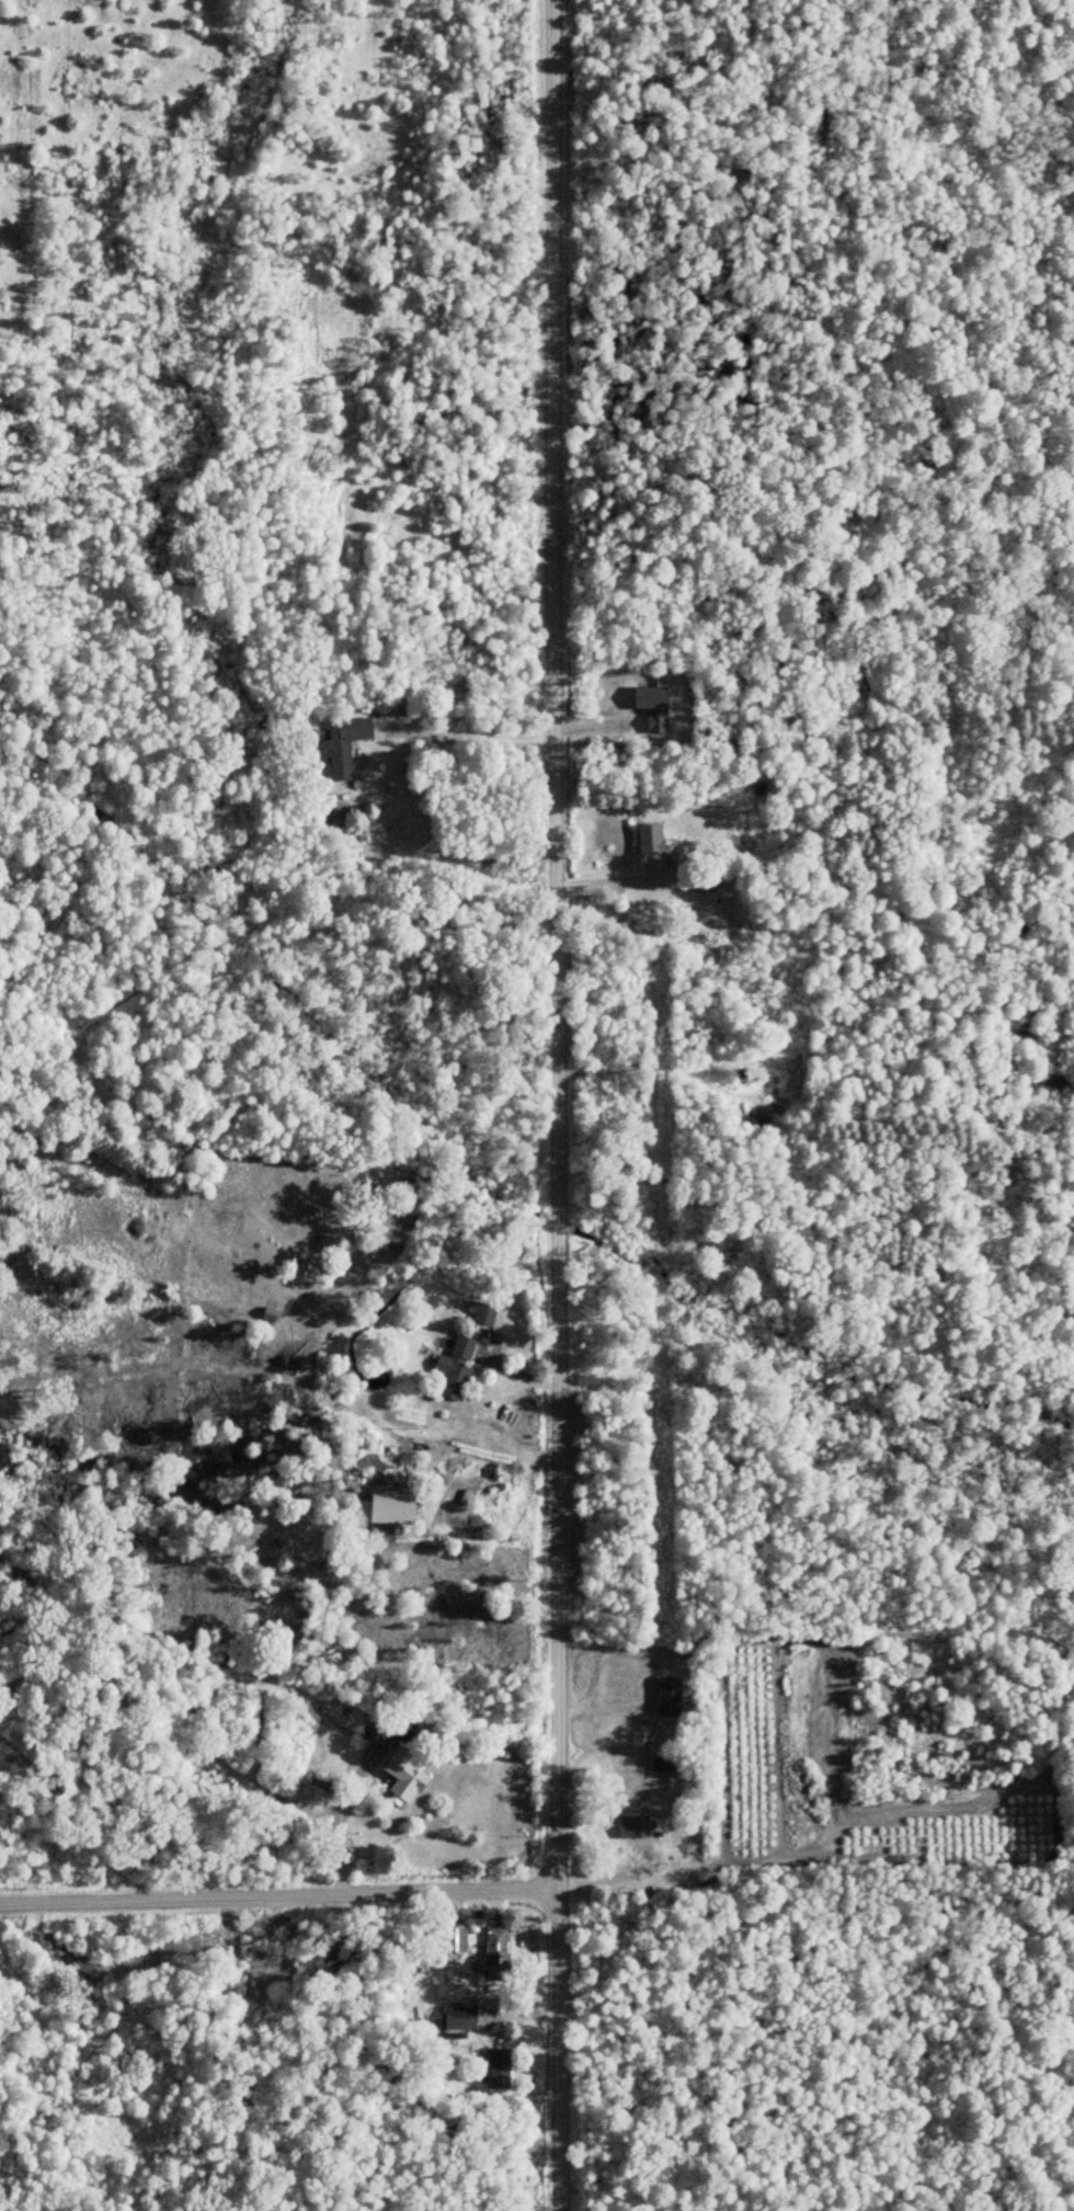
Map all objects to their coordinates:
road: (476, 733)
building: (346, 743)
building: (655, 842)
road: (614, 881)
building: (705, 882)
road: (556, 1105)
building: (272, 1311)
building: (487, 1313)
building: (457, 1369)
building: (407, 1779)
road: (342, 1825)
building: (636, 1826)
road: (278, 1897)
building: (456, 1939)
building: (499, 1953)
building: (500, 2068)

